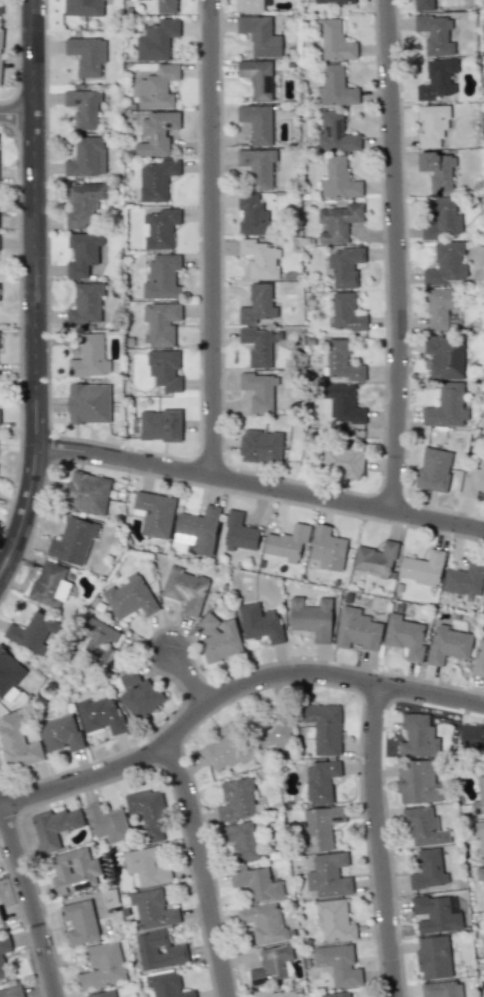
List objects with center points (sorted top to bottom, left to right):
building: (333, 1)
building: (249, 5)
building: (423, 5)
building: (0, 6)
building: (167, 6)
building: (83, 7)
building: (435, 34)
building: (260, 35)
building: (157, 40)
building: (335, 41)
building: (0, 50)
building: (87, 55)
road: (15, 56)
building: (257, 78)
building: (437, 79)
building: (157, 87)
building: (335, 87)
building: (83, 107)
road: (17, 115)
building: (257, 122)
building: (432, 124)
building: (156, 133)
building: (335, 133)
building: (86, 157)
building: (258, 166)
building: (438, 170)
building: (156, 179)
building: (339, 179)
building: (82, 204)
building: (251, 214)
building: (443, 218)
building: (338, 222)
building: (159, 227)
road: (212, 238)
building: (83, 253)
road: (399, 256)
building: (260, 258)
building: (447, 265)
building: (345, 266)
building: (162, 278)
road: (36, 292)
building: (86, 303)
building: (257, 304)
building: (440, 306)
building: (345, 313)
building: (161, 322)
building: (258, 346)
building: (444, 356)
building: (89, 357)
building: (341, 361)
building: (165, 369)
building: (258, 390)
building: (88, 403)
building: (343, 404)
building: (447, 406)
building: (158, 425)
building: (261, 445)
building: (342, 461)
building: (434, 469)
building: (473, 482)
road: (260, 486)
building: (87, 493)
building: (483, 498)
building: (155, 514)
building: (197, 530)
building: (239, 533)
building: (73, 540)
building: (288, 542)
building: (327, 548)
building: (376, 559)
building: (422, 567)
building: (465, 581)
building: (50, 585)
building: (186, 589)
building: (130, 597)
building: (312, 618)
building: (260, 623)
building: (357, 629)
building: (33, 633)
building: (405, 636)
building: (220, 639)
building: (100, 640)
building: (448, 644)
building: (479, 658)
building: (9, 676)
road: (190, 678)
road: (230, 689)
building: (138, 694)
building: (99, 715)
building: (324, 727)
building: (274, 729)
building: (61, 733)
building: (418, 736)
building: (471, 738)
building: (17, 744)
building: (226, 748)
building: (320, 781)
building: (418, 781)
building: (479, 797)
building: (237, 799)
road: (0, 803)
building: (148, 813)
building: (107, 823)
building: (55, 827)
building: (320, 827)
building: (424, 827)
building: (479, 836)
building: (241, 840)
road: (383, 840)
road: (204, 866)
building: (145, 867)
building: (428, 869)
building: (71, 871)
building: (480, 873)
building: (328, 875)
building: (256, 883)
road: (31, 897)
building: (153, 908)
building: (435, 914)
building: (0, 916)
building: (335, 920)
building: (80, 922)
building: (263, 922)
building: (159, 950)
building: (4, 956)
building: (433, 957)
building: (483, 959)
building: (272, 964)
building: (339, 964)
building: (102, 965)
building: (167, 985)
building: (441, 989)
building: (274, 993)
building: (103, 994)
building: (336, 994)

